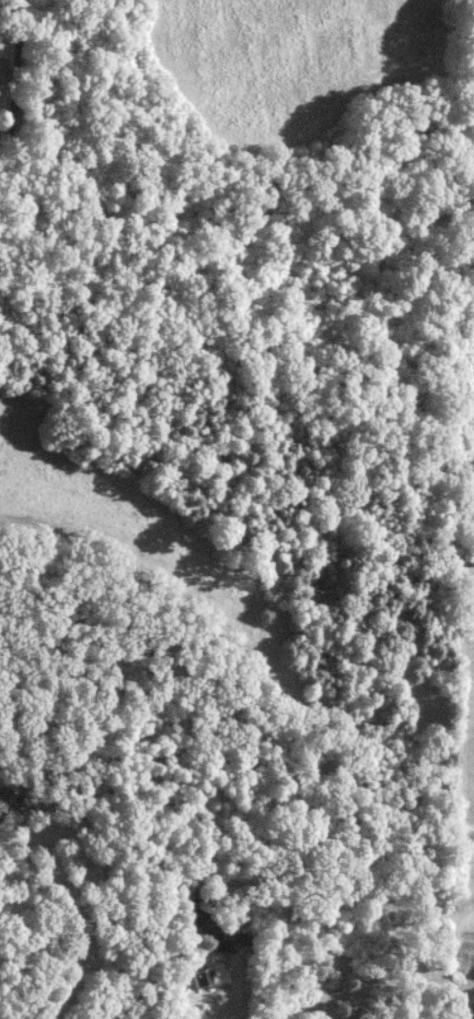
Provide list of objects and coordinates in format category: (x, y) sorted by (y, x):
building: (4, 798)
road: (92, 908)
building: (197, 911)
building: (200, 977)
road: (168, 989)

